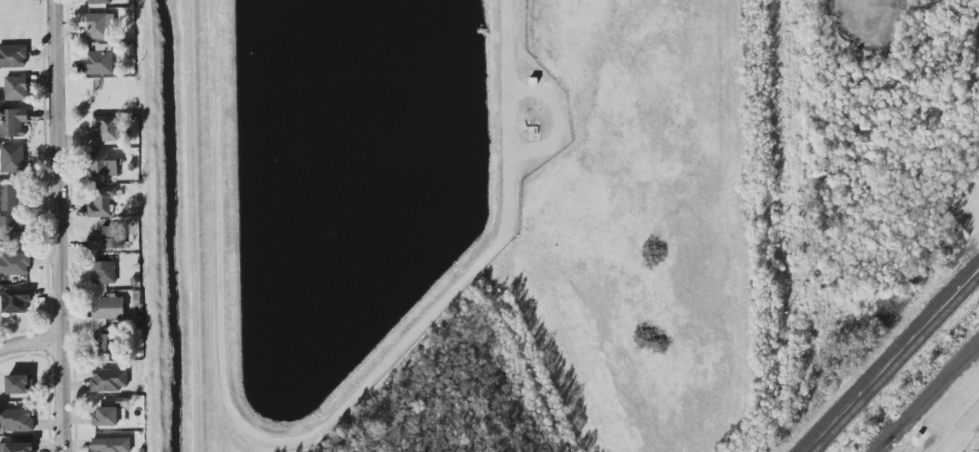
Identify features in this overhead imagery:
building: (100, 2)
building: (99, 26)
road: (507, 47)
building: (12, 56)
building: (100, 60)
building: (16, 89)
building: (13, 122)
building: (106, 131)
road: (549, 154)
building: (12, 158)
building: (103, 166)
building: (10, 198)
building: (102, 202)
building: (8, 224)
road: (60, 226)
building: (107, 238)
building: (14, 264)
building: (105, 271)
building: (14, 301)
building: (109, 309)
road: (30, 342)
building: (107, 342)
railway: (887, 354)
railway: (895, 363)
building: (109, 380)
building: (18, 384)
railway: (929, 400)
building: (109, 417)
building: (16, 420)
road: (959, 432)
building: (111, 445)
railway: (885, 445)
building: (17, 447)

